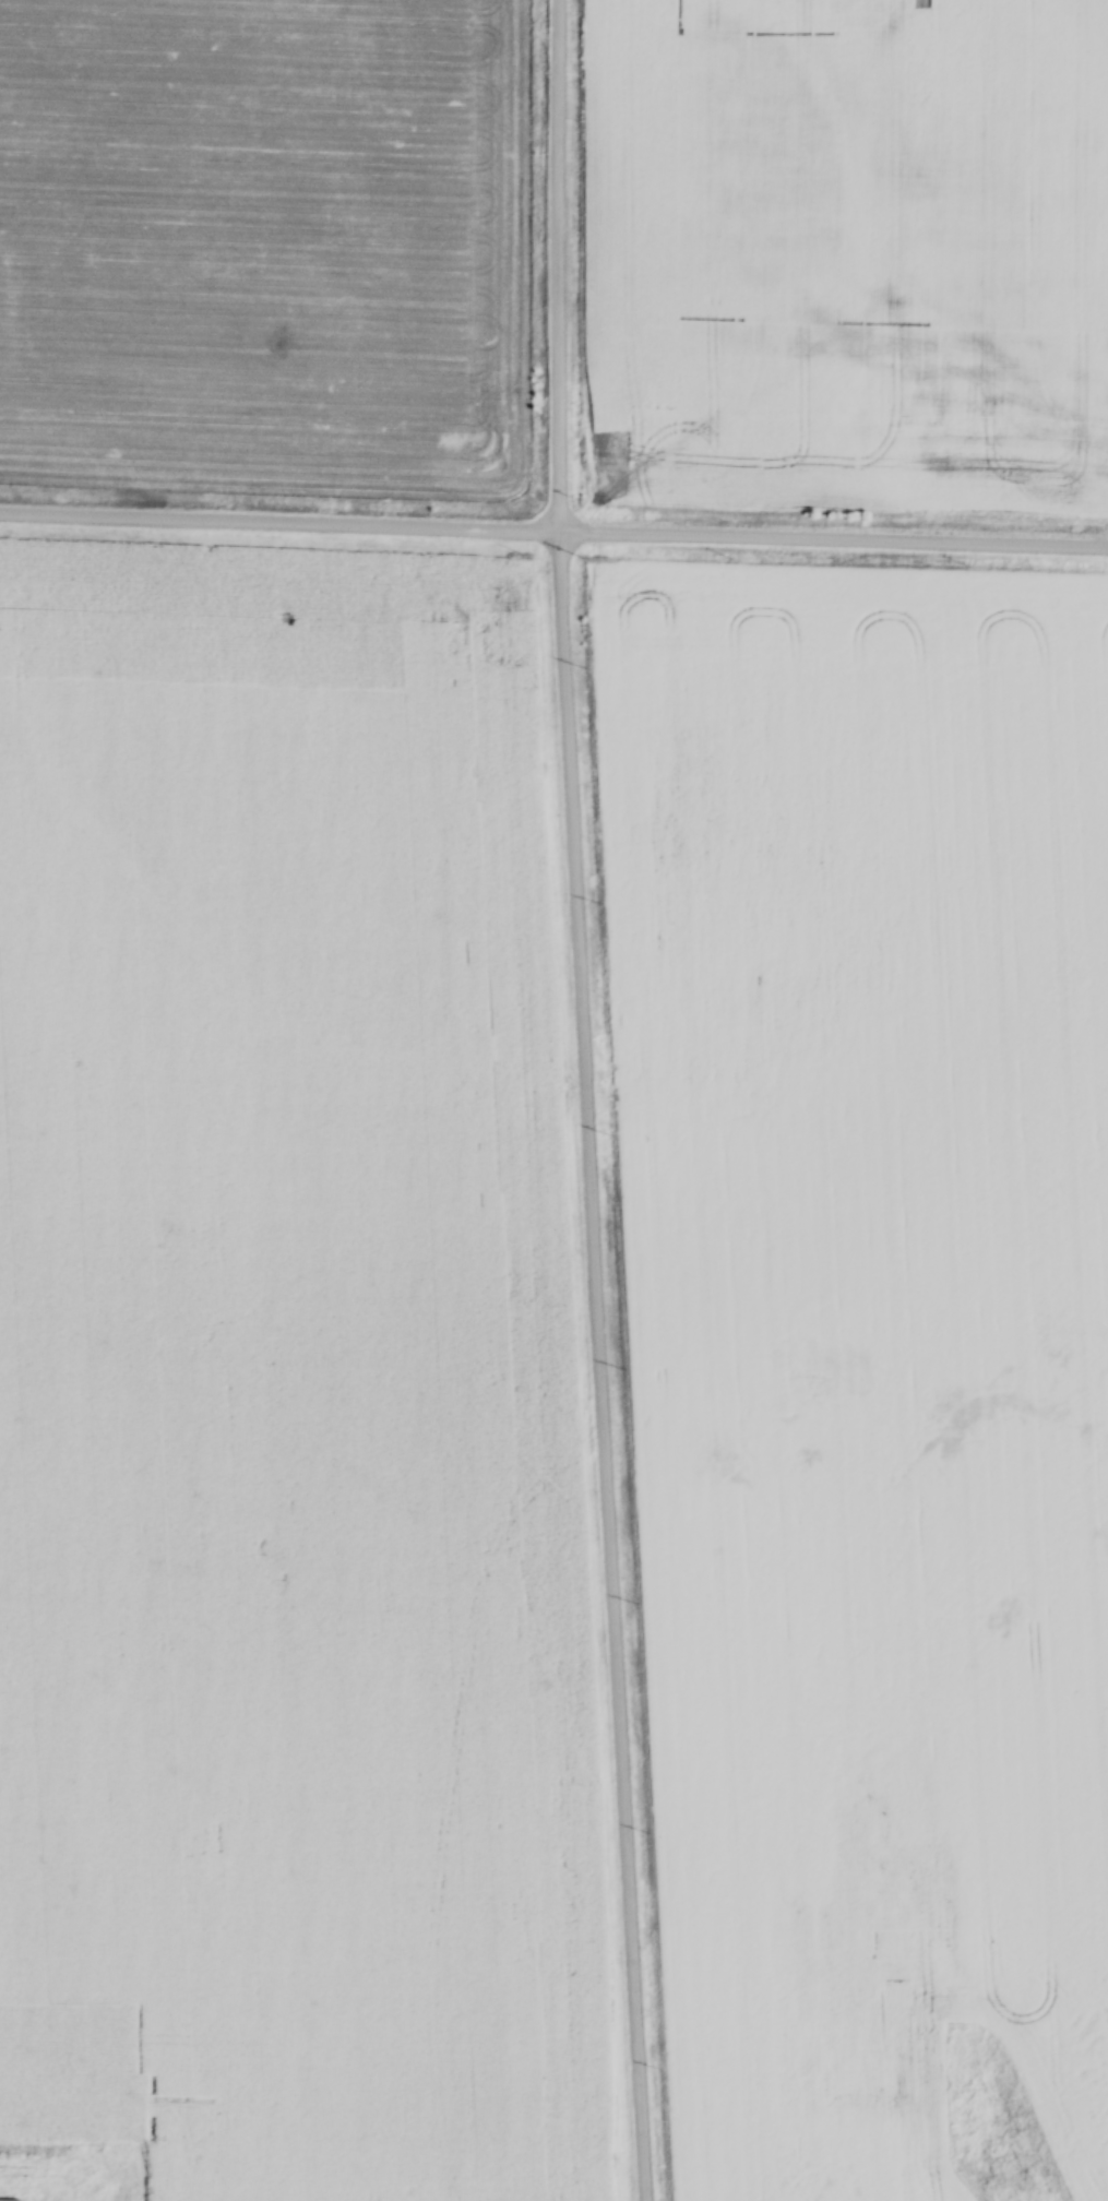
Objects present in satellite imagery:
road: (553, 531)
road: (589, 1100)

